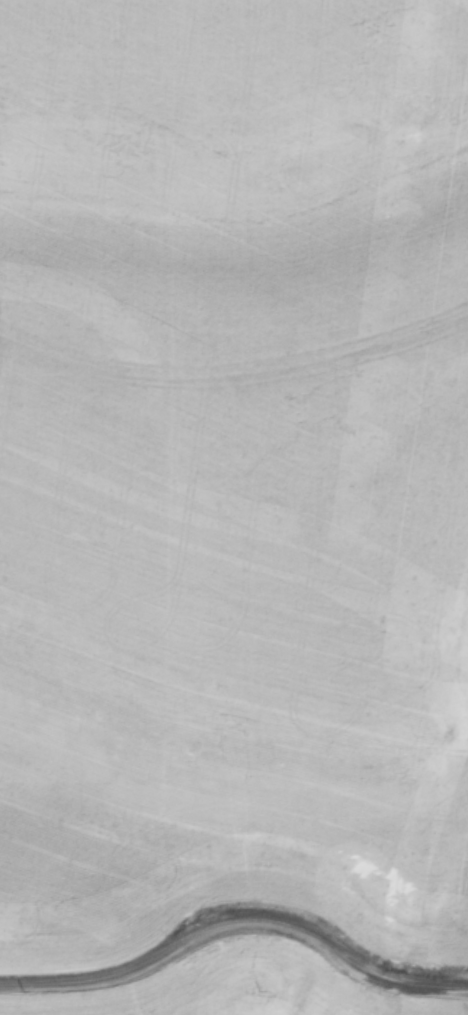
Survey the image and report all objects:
road: (237, 945)

